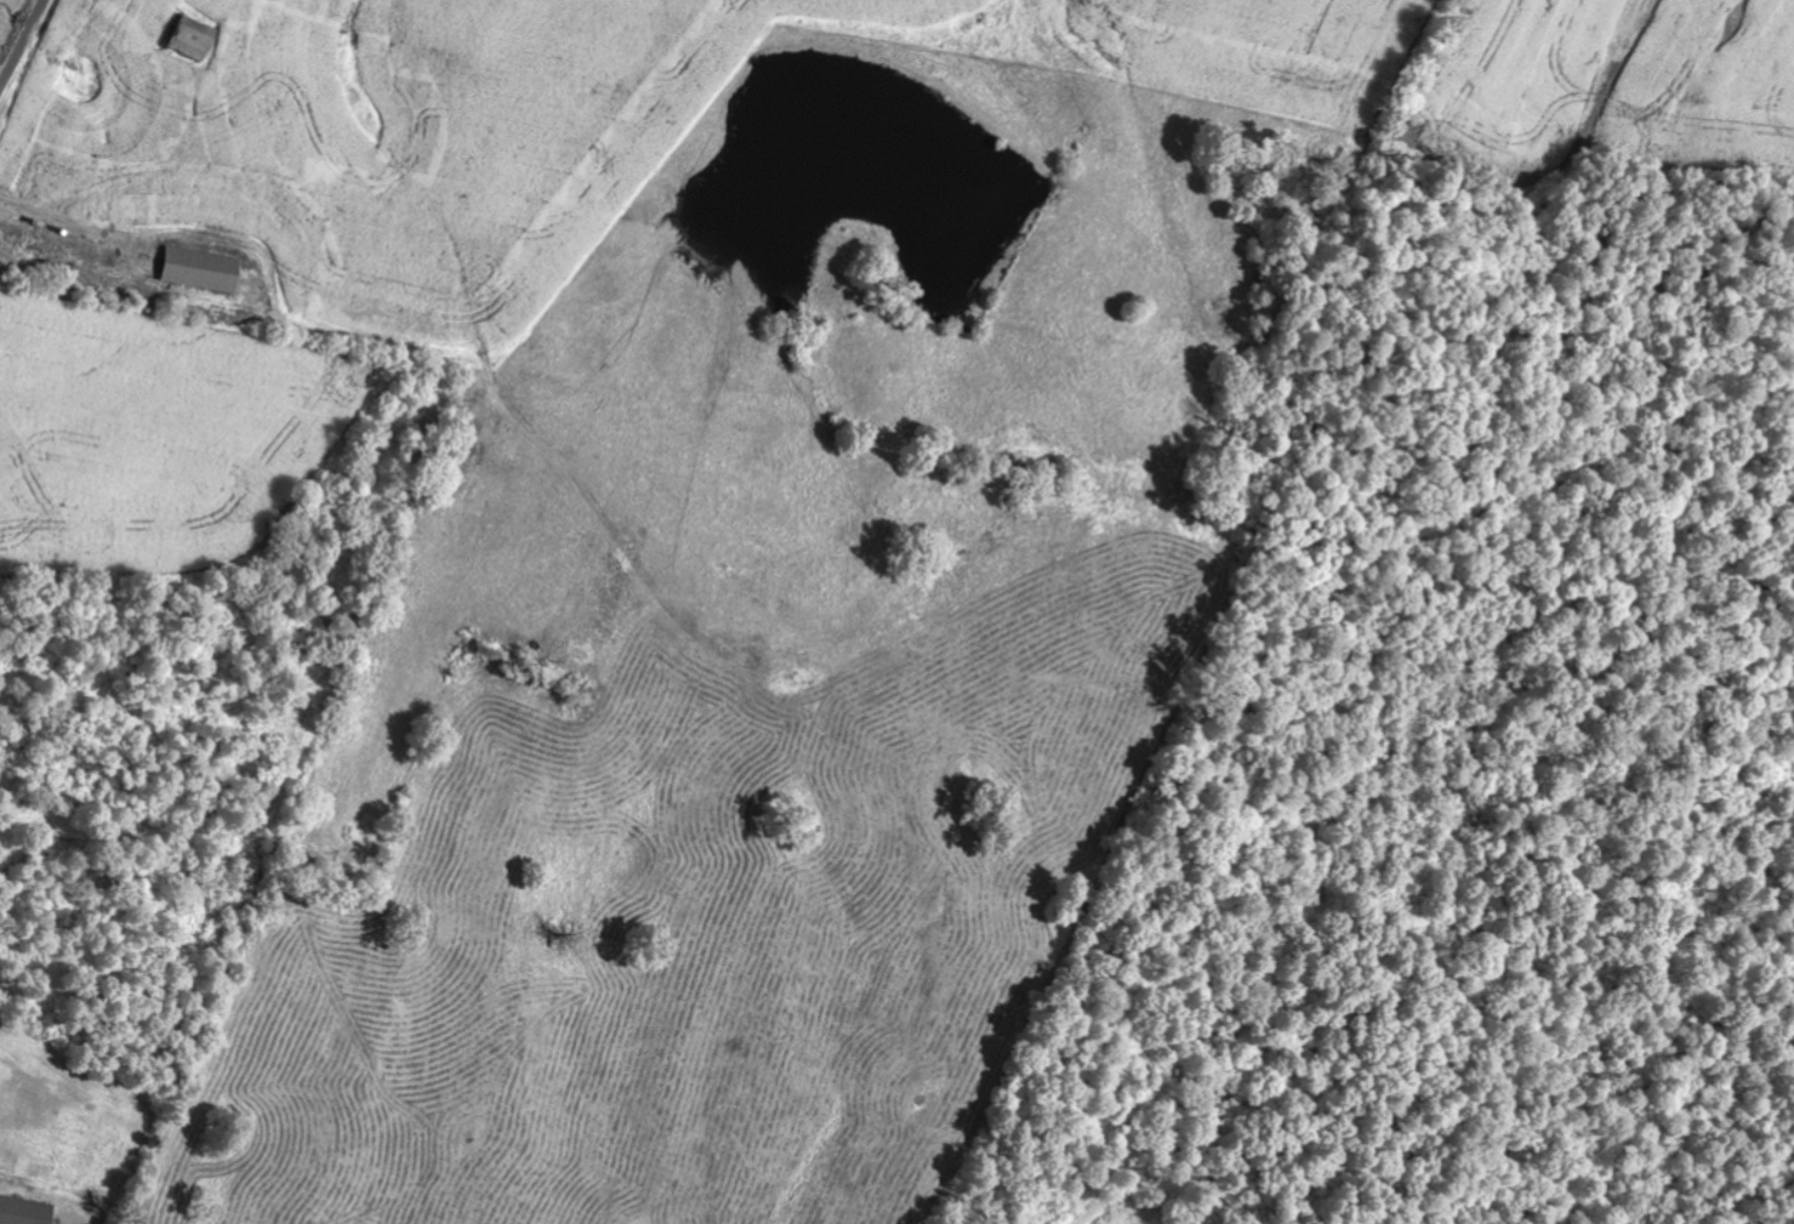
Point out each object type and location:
building: (194, 39)
road: (24, 45)
building: (204, 269)
building: (27, 1209)

